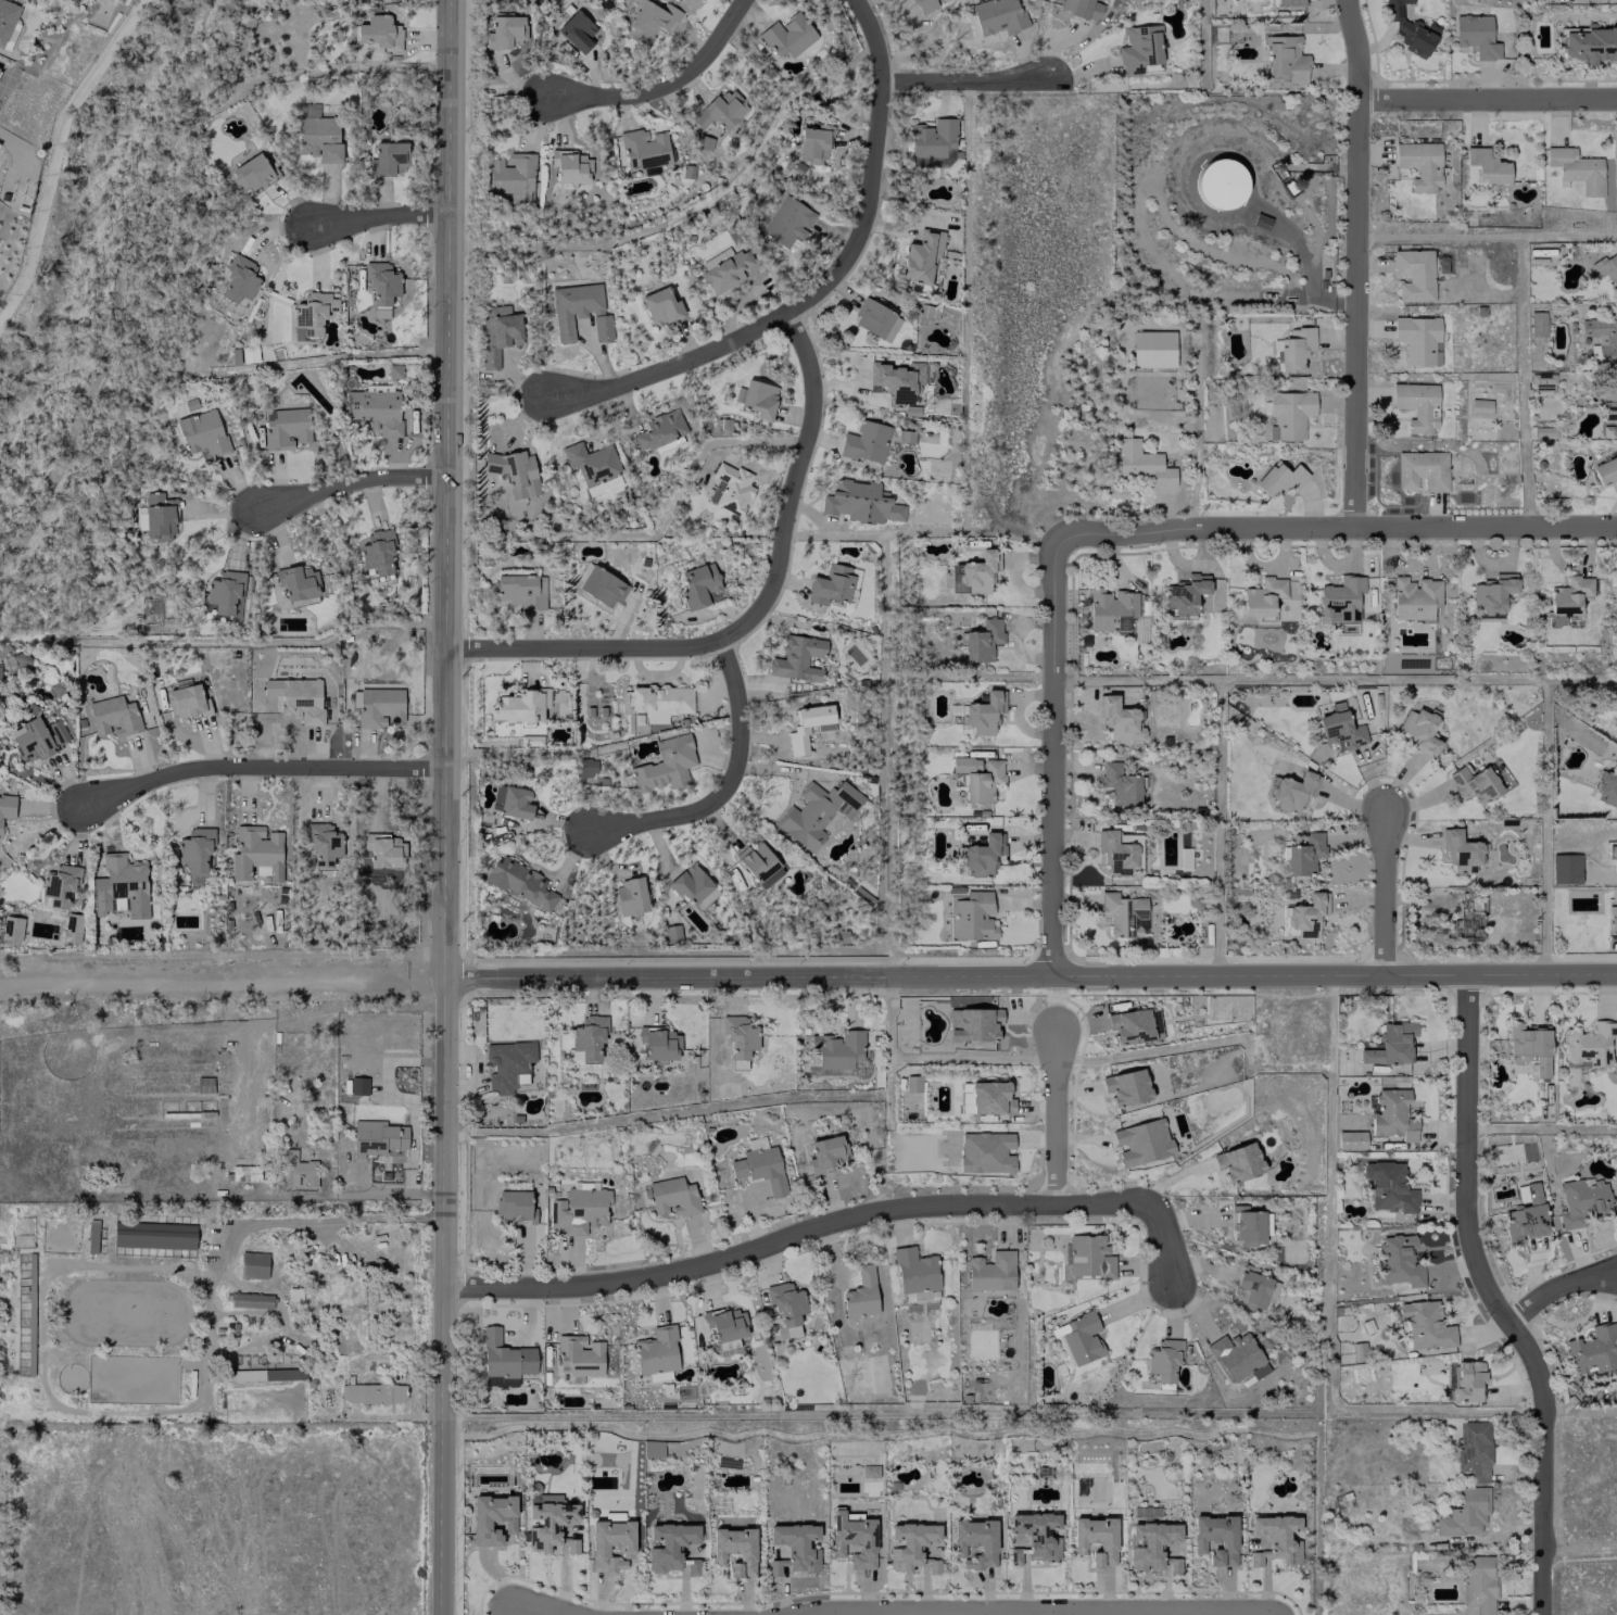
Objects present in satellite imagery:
building: (1289, 2)
building: (923, 5)
building: (1082, 8)
building: (997, 15)
building: (5, 18)
building: (650, 20)
building: (1408, 29)
building: (505, 30)
building: (576, 30)
building: (379, 31)
building: (787, 35)
building: (1476, 35)
building: (1590, 43)
building: (1138, 48)
road: (964, 79)
road: (666, 84)
road: (1487, 99)
building: (720, 109)
building: (318, 137)
building: (931, 140)
building: (812, 143)
building: (644, 148)
building: (387, 157)
building: (1419, 164)
building: (569, 165)
building: (1483, 166)
building: (1576, 168)
building: (251, 173)
building: (509, 176)
building: (1221, 184)
road: (379, 215)
building: (786, 222)
building: (921, 256)
road: (1354, 263)
building: (1606, 268)
building: (725, 270)
building: (1413, 274)
building: (238, 279)
road: (821, 285)
building: (380, 286)
building: (659, 305)
building: (579, 311)
building: (311, 313)
building: (875, 319)
building: (1536, 323)
building: (496, 331)
building: (1417, 338)
building: (1602, 339)
building: (1294, 348)
building: (1152, 349)
building: (1541, 377)
building: (893, 381)
building: (758, 398)
building: (1416, 405)
building: (1479, 406)
building: (375, 409)
building: (1608, 409)
building: (1287, 414)
building: (285, 427)
building: (658, 429)
building: (1543, 431)
building: (202, 432)
building: (866, 441)
building: (1141, 463)
building: (591, 464)
building: (1423, 469)
building: (1605, 471)
building: (518, 472)
building: (1278, 478)
road: (352, 484)
building: (729, 488)
building: (860, 502)
building: (159, 514)
road: (1336, 527)
building: (377, 553)
building: (978, 571)
building: (298, 582)
building: (697, 584)
building: (602, 585)
building: (831, 586)
building: (520, 590)
building: (225, 592)
building: (1491, 593)
building: (1185, 594)
building: (1262, 595)
building: (1567, 595)
building: (1413, 597)
building: (1339, 600)
building: (1110, 609)
road: (750, 614)
building: (982, 640)
building: (21, 657)
building: (797, 657)
building: (296, 697)
building: (186, 701)
building: (659, 701)
building: (520, 705)
building: (379, 706)
building: (983, 712)
building: (113, 716)
building: (1119, 719)
building: (1339, 728)
building: (796, 729)
building: (1419, 730)
building: (37, 737)
road: (1052, 756)
building: (665, 764)
building: (585, 766)
road: (260, 767)
building: (977, 775)
building: (1119, 783)
building: (1474, 783)
road: (724, 785)
building: (1605, 788)
building: (1292, 791)
building: (510, 800)
building: (7, 806)
road: (442, 807)
building: (816, 811)
building: (323, 843)
building: (194, 849)
building: (1460, 849)
building: (383, 850)
building: (1303, 854)
building: (980, 855)
building: (1614, 858)
building: (758, 863)
building: (1564, 868)
building: (519, 881)
building: (58, 886)
building: (119, 886)
building: (693, 886)
road: (1385, 891)
building: (629, 896)
building: (1122, 913)
building: (1306, 913)
building: (1463, 914)
building: (972, 916)
building: (1613, 919)
building: (71, 926)
building: (11, 928)
road: (1028, 973)
road: (220, 977)
building: (972, 1023)
building: (1129, 1025)
building: (588, 1036)
building: (738, 1037)
building: (658, 1043)
building: (1389, 1044)
building: (1530, 1045)
building: (1589, 1045)
building: (837, 1048)
building: (506, 1062)
building: (826, 1072)
building: (911, 1083)
building: (357, 1085)
building: (1125, 1086)
building: (990, 1097)
building: (1392, 1113)
road: (1053, 1116)
building: (376, 1136)
building: (1350, 1139)
building: (1141, 1141)
building: (986, 1151)
building: (825, 1152)
building: (1238, 1161)
building: (759, 1168)
building: (295, 1170)
building: (244, 1172)
building: (1387, 1186)
building: (672, 1197)
building: (1582, 1200)
building: (513, 1206)
building: (579, 1210)
building: (1525, 1216)
road: (323, 1220)
building: (1247, 1225)
road: (791, 1234)
building: (153, 1235)
road: (1163, 1242)
building: (1088, 1256)
building: (1397, 1261)
building: (252, 1264)
building: (913, 1271)
building: (989, 1273)
road: (1557, 1286)
building: (1253, 1287)
building: (860, 1294)
road: (1492, 1297)
building: (250, 1300)
building: (785, 1305)
building: (724, 1323)
building: (1425, 1324)
building: (1593, 1349)
building: (1357, 1351)
building: (656, 1352)
building: (579, 1355)
building: (1237, 1358)
building: (1162, 1359)
building: (503, 1360)
building: (264, 1374)
building: (1466, 1380)
building: (371, 1392)
building: (652, 1448)
building: (1474, 1449)
building: (1464, 1512)
building: (492, 1517)
building: (547, 1518)
building: (1036, 1534)
building: (852, 1538)
building: (1215, 1538)
building: (1275, 1538)
building: (1095, 1539)
building: (974, 1541)
building: (610, 1542)
building: (909, 1543)
building: (1150, 1543)
building: (668, 1544)
building: (571, 1545)
building: (792, 1547)
road: (1578, 1547)
building: (734, 1549)
building: (1014, 1555)
building: (1174, 1565)
building: (692, 1566)
building: (1478, 1582)
road: (1013, 1607)
road: (551, 1608)
road: (1036, 1611)

